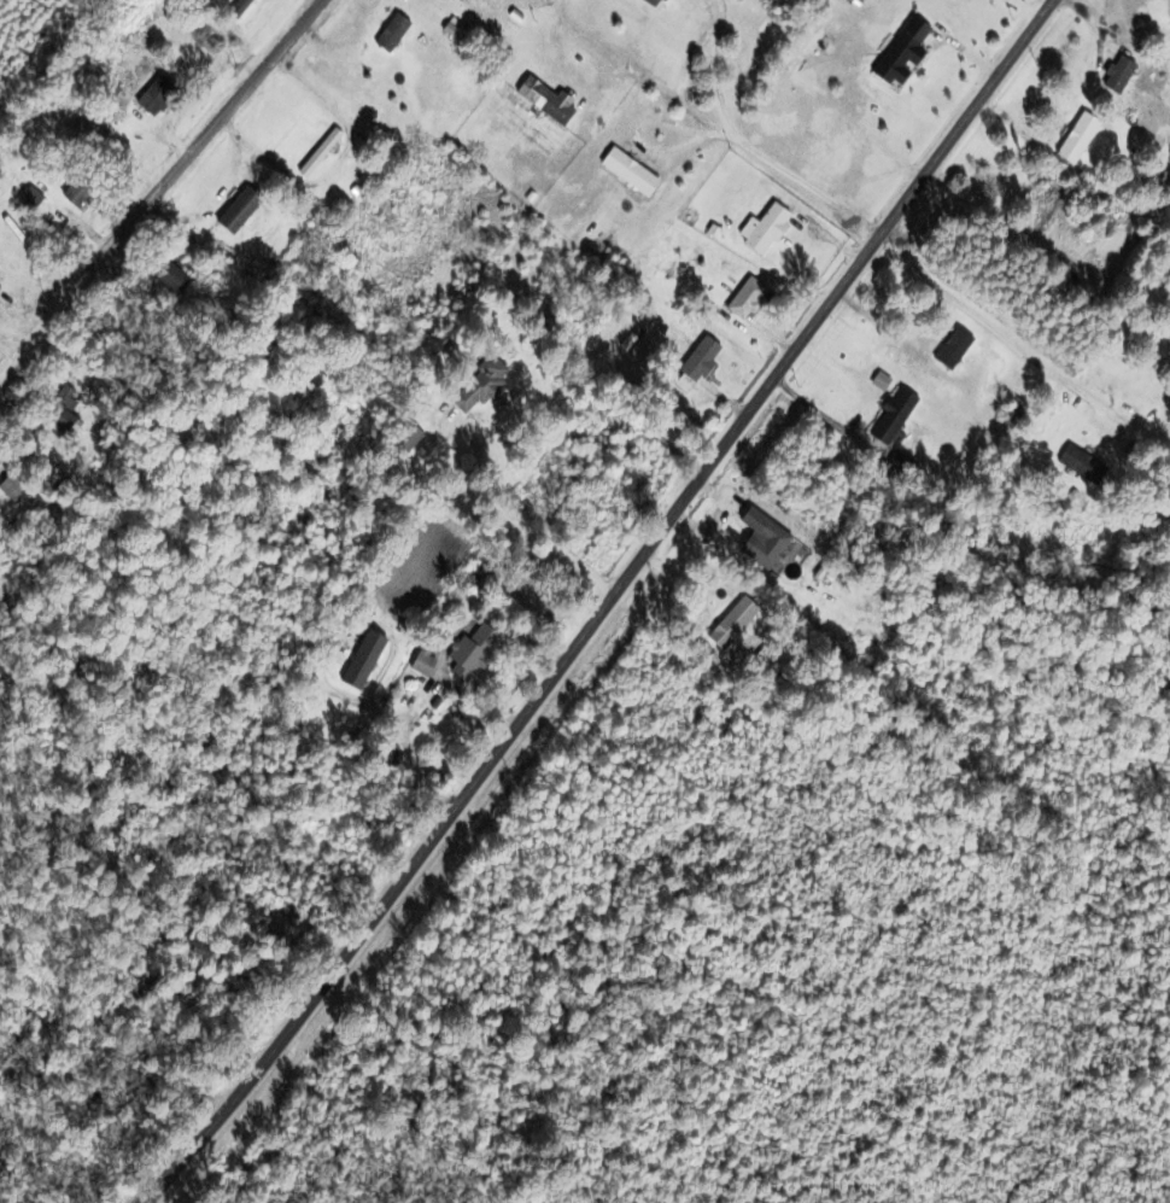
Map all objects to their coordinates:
building: (651, 4)
building: (236, 8)
building: (390, 34)
building: (901, 54)
building: (1115, 76)
building: (153, 97)
building: (542, 101)
building: (1076, 138)
road: (754, 151)
building: (317, 154)
building: (626, 173)
road: (160, 183)
building: (28, 199)
building: (235, 211)
building: (764, 229)
building: (743, 299)
building: (952, 349)
building: (697, 360)
building: (474, 385)
building: (674, 392)
road: (1017, 402)
building: (1008, 413)
building: (891, 416)
building: (1080, 466)
building: (8, 490)
building: (764, 547)
road: (604, 607)
building: (730, 624)
building: (469, 652)
building: (359, 661)
building: (419, 666)

